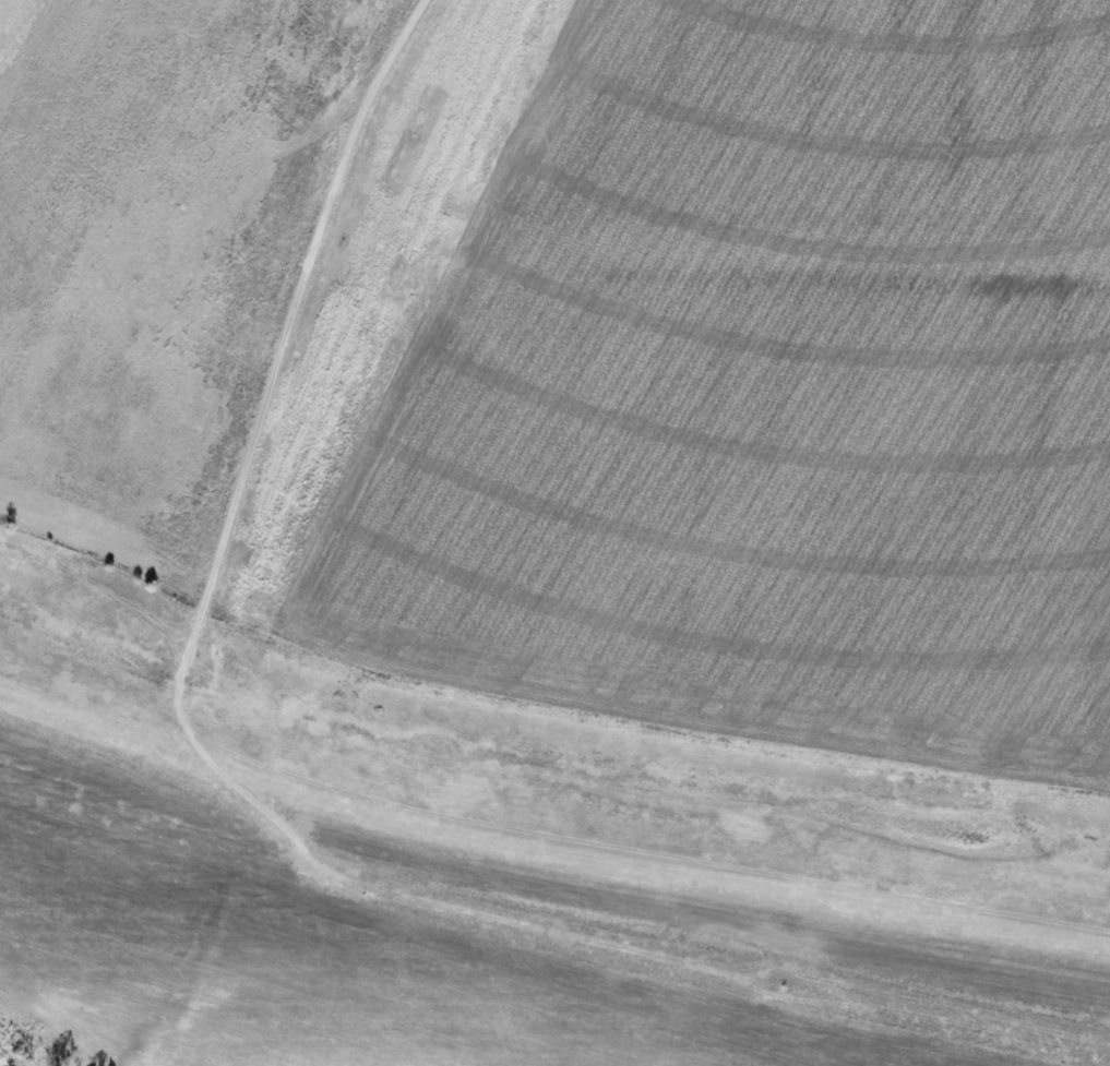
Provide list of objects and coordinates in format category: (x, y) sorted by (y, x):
road: (317, 810)

